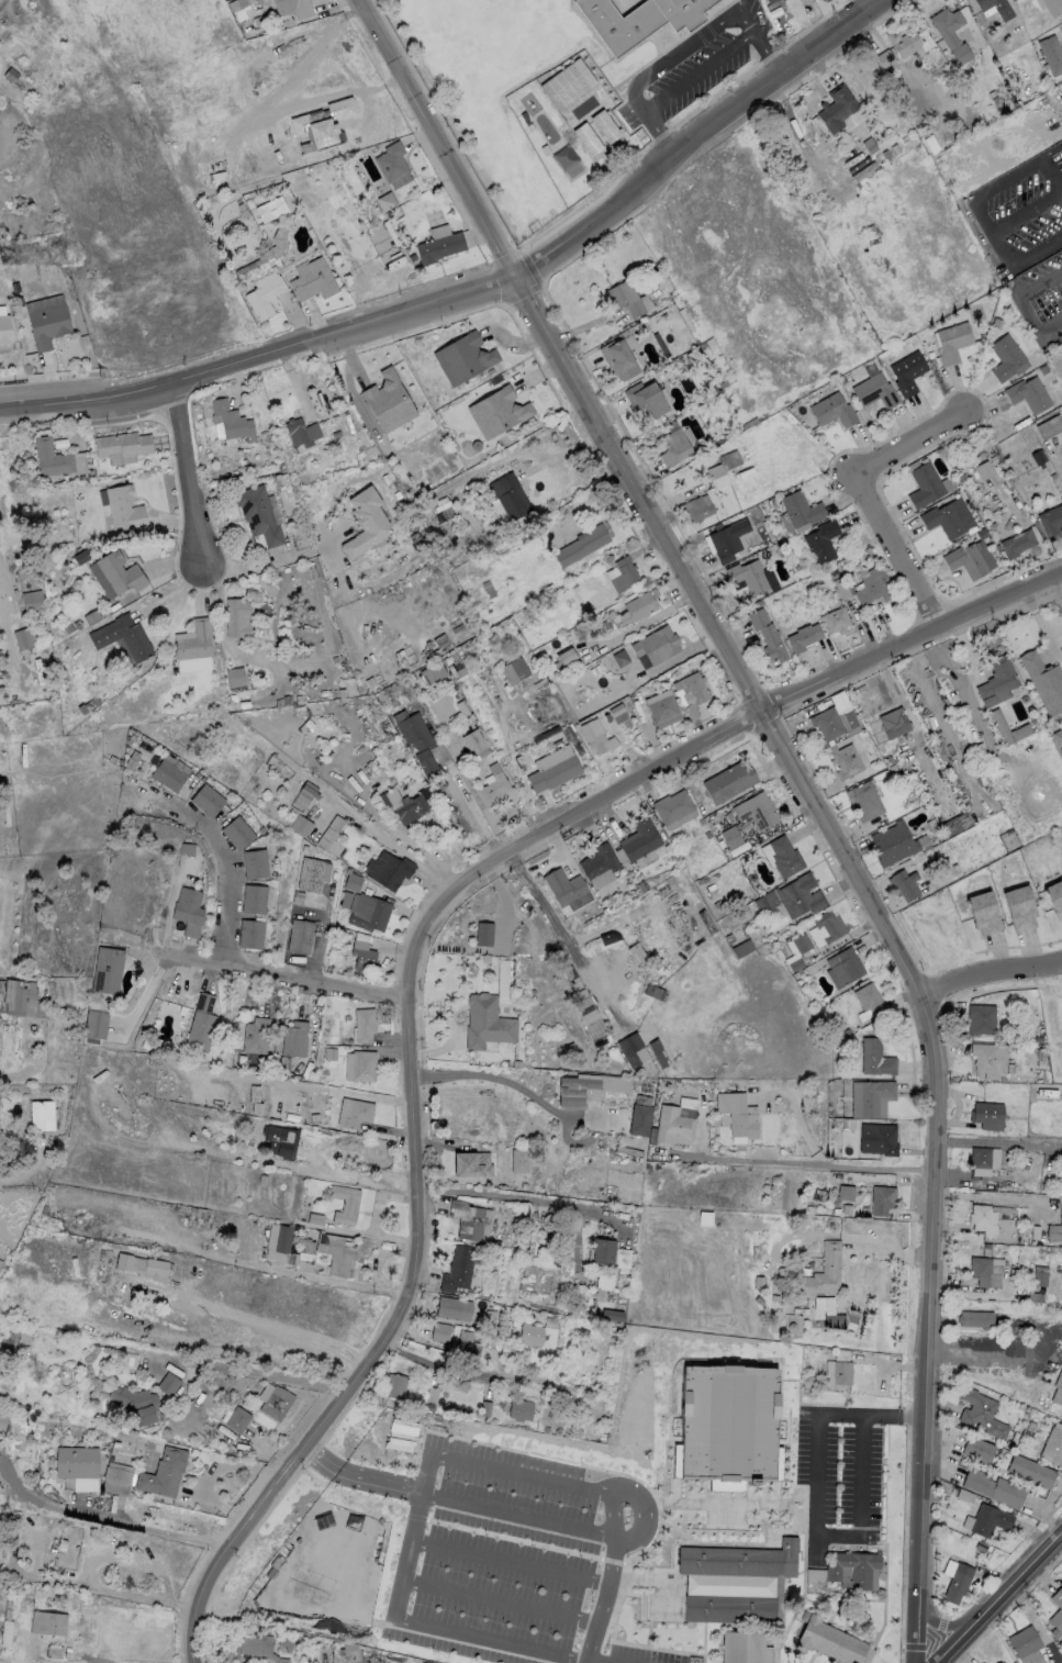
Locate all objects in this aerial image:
road: (0, 0)
building: (769, 1)
road: (868, 4)
building: (1052, 7)
building: (302, 8)
building: (995, 8)
building: (242, 9)
building: (639, 21)
building: (950, 33)
building: (910, 45)
road: (682, 51)
building: (1050, 54)
building: (884, 58)
building: (562, 108)
building: (836, 108)
building: (604, 125)
building: (588, 136)
road: (7, 146)
building: (1061, 146)
building: (1061, 153)
building: (390, 161)
building: (385, 201)
building: (270, 209)
road: (983, 214)
building: (278, 238)
building: (438, 246)
building: (312, 279)
road: (480, 288)
building: (262, 295)
building: (624, 298)
road: (1024, 304)
building: (46, 325)
building: (4, 328)
building: (952, 342)
building: (462, 358)
building: (1006, 358)
building: (617, 359)
building: (907, 372)
building: (874, 391)
building: (1028, 394)
building: (645, 399)
building: (388, 401)
building: (831, 411)
building: (498, 412)
building: (230, 420)
building: (1049, 426)
building: (298, 432)
building: (122, 444)
building: (672, 447)
building: (52, 458)
building: (722, 468)
building: (983, 469)
road: (193, 482)
building: (924, 485)
road: (869, 492)
building: (512, 496)
building: (696, 507)
building: (122, 509)
building: (801, 510)
building: (258, 514)
building: (942, 521)
building: (1051, 522)
building: (365, 523)
building: (727, 539)
building: (820, 542)
building: (582, 544)
building: (1016, 544)
building: (965, 560)
building: (118, 573)
building: (622, 574)
building: (747, 577)
building: (873, 588)
building: (31, 601)
road: (1, 604)
building: (636, 609)
building: (236, 617)
building: (835, 620)
building: (765, 634)
building: (803, 636)
building: (122, 637)
building: (23, 638)
building: (193, 641)
building: (656, 644)
building: (566, 656)
building: (514, 670)
building: (433, 672)
building: (234, 677)
building: (997, 680)
building: (1043, 680)
building: (691, 691)
building: (662, 707)
building: (826, 723)
building: (892, 723)
building: (999, 726)
building: (412, 730)
building: (592, 734)
building: (473, 740)
building: (845, 761)
building: (554, 767)
building: (167, 773)
building: (728, 781)
building: (492, 789)
road: (802, 790)
building: (304, 794)
building: (205, 799)
building: (401, 803)
building: (865, 803)
building: (673, 805)
building: (757, 810)
road: (474, 812)
building: (301, 825)
building: (236, 831)
building: (331, 836)
building: (640, 838)
building: (733, 839)
building: (891, 842)
road: (392, 844)
building: (784, 856)
road: (550, 859)
road: (224, 861)
building: (600, 861)
building: (253, 862)
building: (388, 868)
building: (310, 874)
building: (353, 882)
building: (903, 884)
building: (566, 889)
building: (1055, 895)
building: (792, 896)
building: (251, 897)
building: (187, 905)
building: (1019, 906)
building: (368, 912)
building: (983, 912)
building: (826, 925)
building: (248, 933)
building: (483, 934)
building: (300, 935)
road: (566, 939)
building: (801, 944)
building: (361, 956)
road: (411, 961)
building: (846, 967)
building: (107, 969)
road: (271, 969)
road: (985, 975)
building: (652, 991)
building: (15, 995)
building: (868, 997)
building: (979, 1018)
building: (487, 1022)
building: (200, 1023)
building: (96, 1024)
building: (362, 1024)
building: (594, 1025)
building: (255, 1035)
building: (293, 1038)
building: (628, 1043)
building: (874, 1058)
building: (988, 1058)
building: (362, 1064)
road: (510, 1084)
building: (588, 1087)
building: (870, 1097)
building: (358, 1113)
building: (736, 1114)
building: (986, 1114)
building: (42, 1115)
building: (638, 1119)
building: (671, 1126)
building: (876, 1138)
building: (280, 1140)
road: (997, 1142)
building: (982, 1159)
building: (471, 1163)
road: (802, 1163)
road: (351, 1178)
building: (839, 1182)
road: (518, 1197)
road: (986, 1197)
building: (881, 1201)
building: (344, 1203)
building: (695, 1210)
building: (982, 1218)
building: (470, 1219)
building: (1054, 1228)
building: (282, 1238)
building: (600, 1249)
building: (336, 1252)
road: (380, 1253)
building: (0, 1262)
building: (142, 1265)
building: (458, 1268)
building: (985, 1270)
building: (823, 1271)
building: (1040, 1275)
road: (339, 1281)
building: (602, 1281)
building: (452, 1307)
building: (828, 1313)
building: (976, 1317)
building: (439, 1331)
building: (536, 1333)
road: (271, 1336)
building: (466, 1343)
road: (982, 1352)
road: (438, 1365)
building: (840, 1371)
road: (250, 1372)
building: (168, 1384)
building: (394, 1385)
building: (1058, 1387)
building: (276, 1402)
building: (135, 1405)
building: (518, 1408)
building: (980, 1411)
building: (2, 1419)
building: (237, 1419)
building: (727, 1426)
building: (393, 1428)
building: (1052, 1446)
building: (977, 1448)
building: (76, 1462)
building: (1030, 1470)
building: (163, 1472)
building: (115, 1477)
road: (549, 1480)
building: (993, 1486)
road: (815, 1498)
building: (346, 1510)
building: (316, 1511)
road: (612, 1511)
road: (517, 1514)
building: (988, 1518)
road: (110, 1519)
building: (739, 1560)
road: (508, 1562)
building: (852, 1569)
building: (957, 1582)
building: (362, 1584)
road: (97, 1588)
road: (499, 1600)
road: (1003, 1601)
building: (25, 1608)
building: (729, 1609)
building: (1057, 1610)
building: (49, 1623)
building: (8, 1625)
road: (953, 1626)
road: (424, 1627)
building: (284, 1640)
building: (828, 1640)
building: (255, 1644)
building: (1025, 1644)
building: (745, 1648)
building: (55, 1653)
road: (599, 1661)
building: (982, 1662)
building: (997, 1662)

